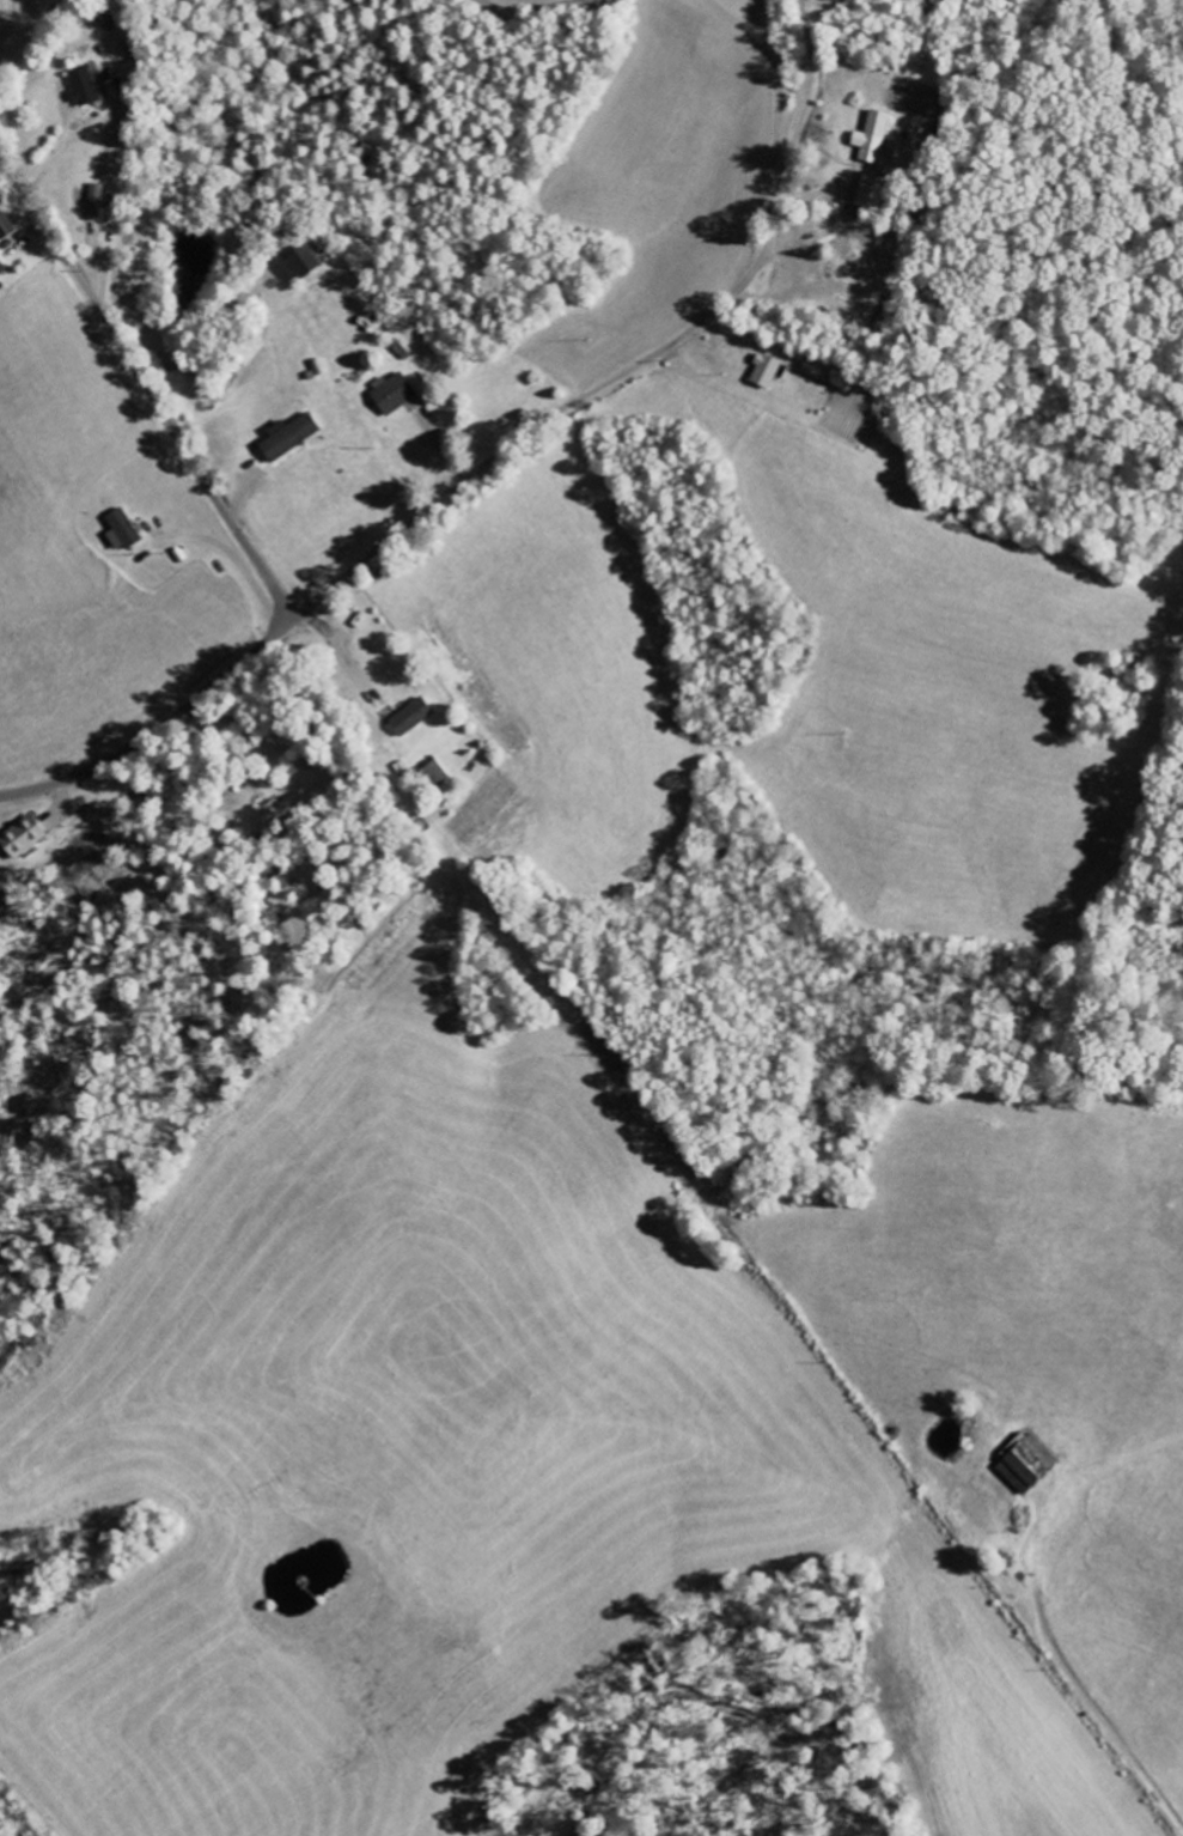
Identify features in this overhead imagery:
building: (84, 89)
building: (872, 138)
building: (871, 191)
building: (98, 201)
building: (6, 226)
building: (300, 263)
building: (1, 267)
building: (766, 371)
road: (144, 389)
building: (392, 394)
building: (287, 437)
road: (490, 456)
building: (121, 530)
building: (410, 717)
building: (281, 809)

